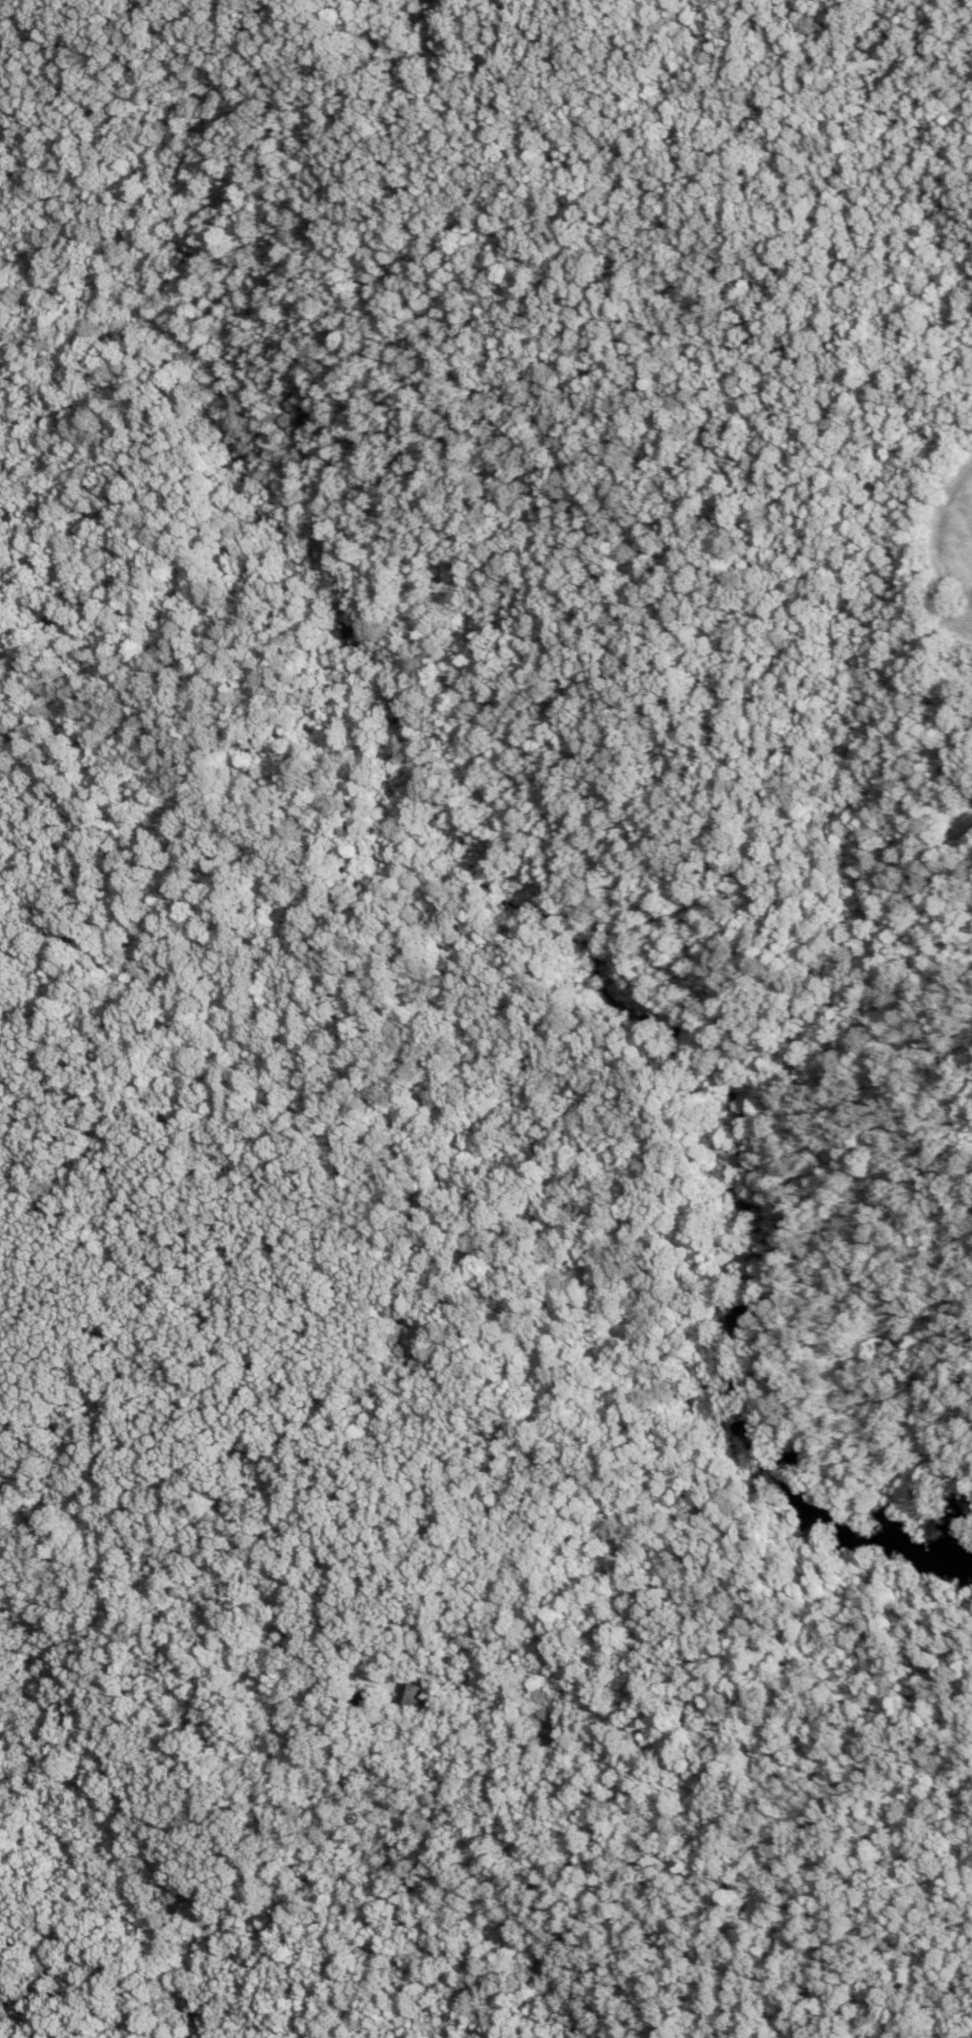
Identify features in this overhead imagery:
river: (531, 939)
park: (457, 1056)
road: (822, 1241)
building: (412, 1700)

